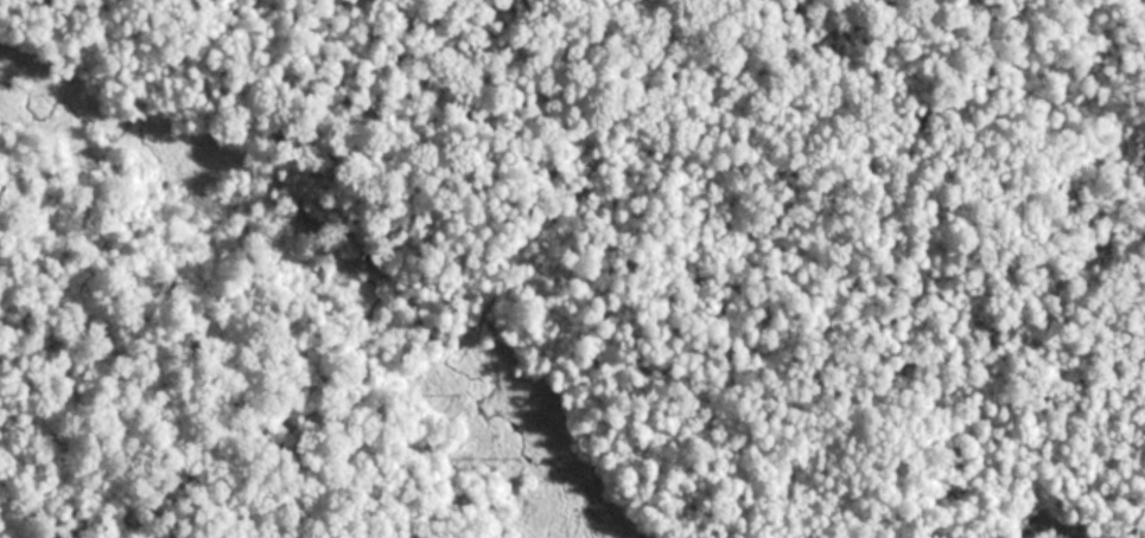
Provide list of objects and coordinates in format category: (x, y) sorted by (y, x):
park: (572, 269)

